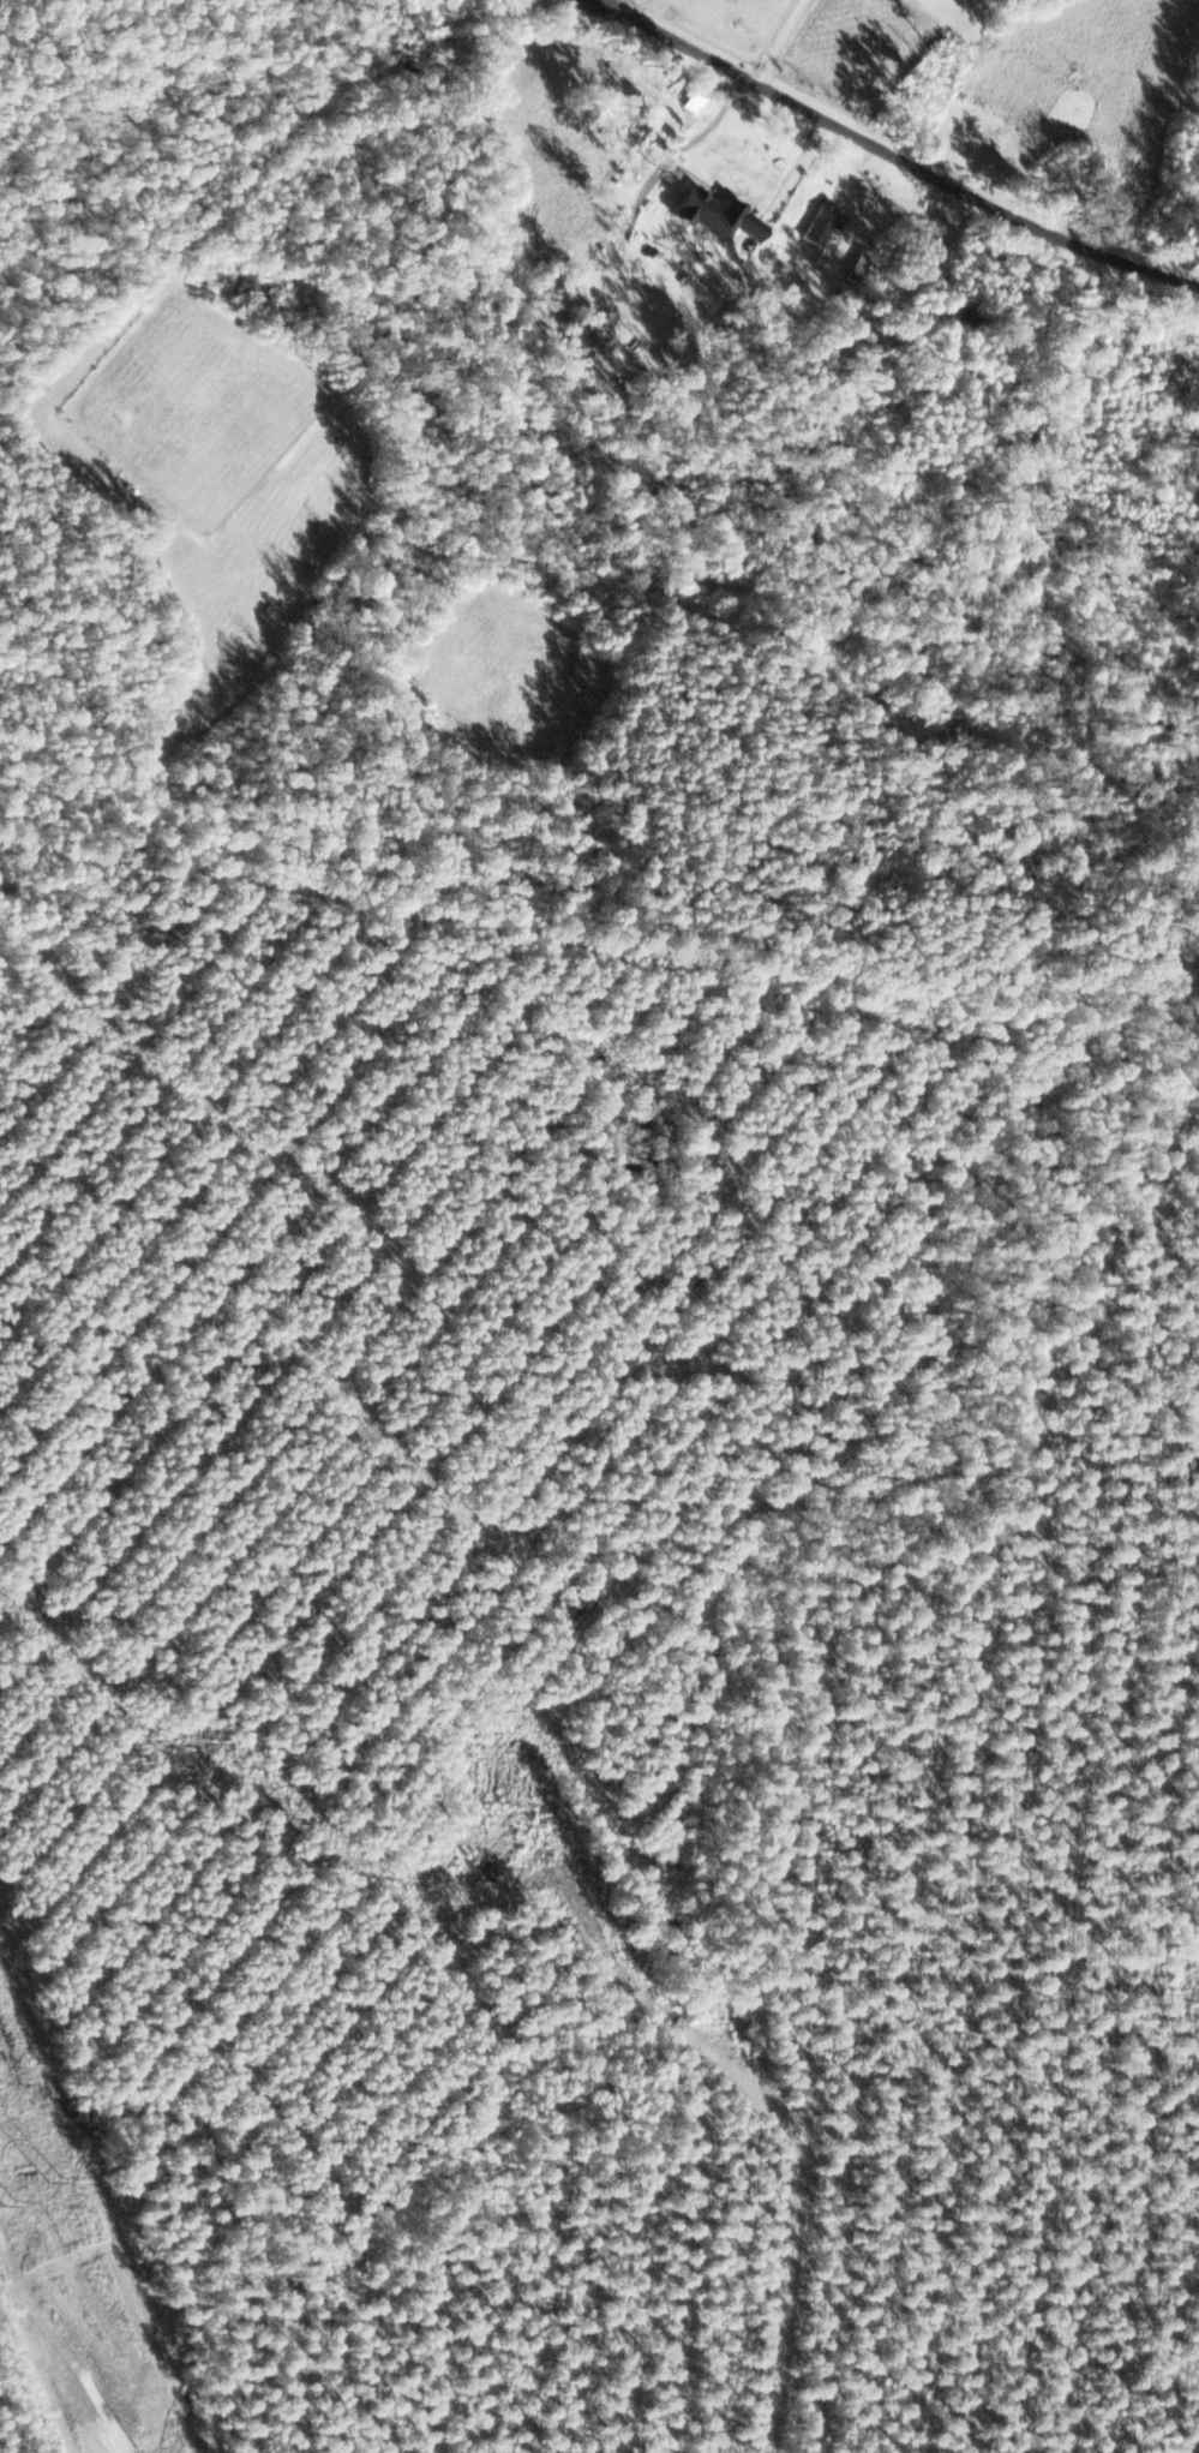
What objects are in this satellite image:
road: (599, 4)
road: (344, 79)
building: (694, 103)
road: (882, 122)
building: (718, 215)
building: (832, 215)
building: (861, 264)
building: (551, 279)
building: (958, 309)
building: (575, 335)
building: (1180, 360)
power tower: (52, 2174)
power tower: (2, 2200)

